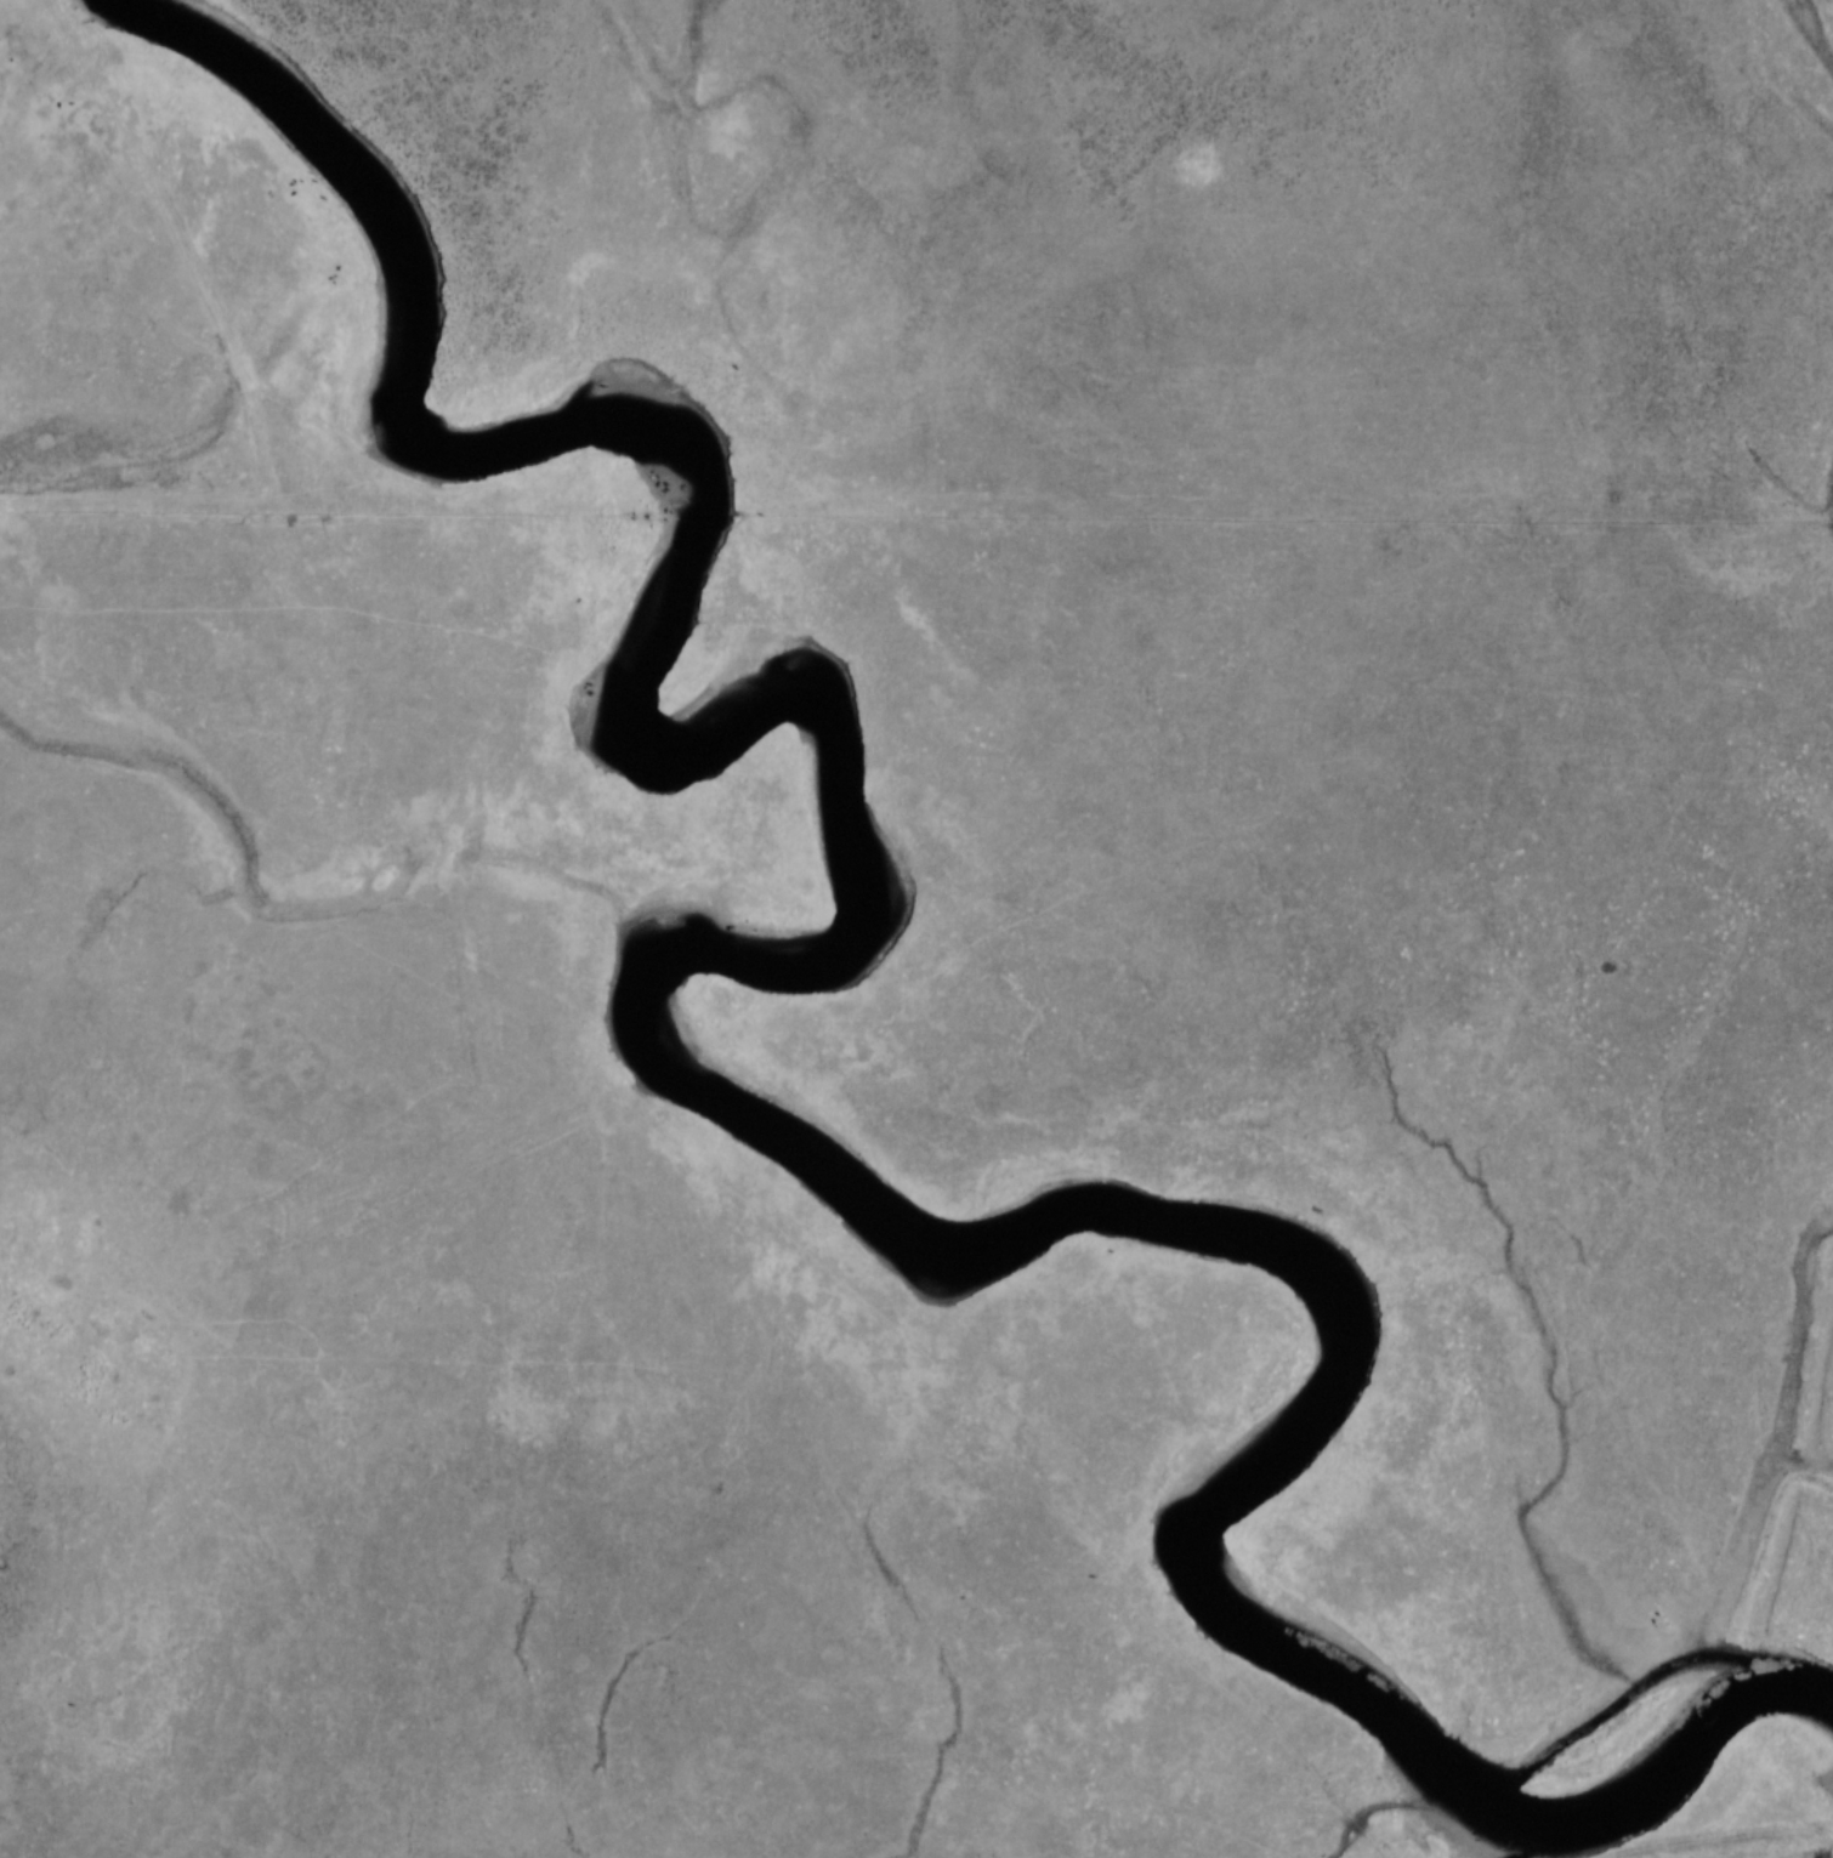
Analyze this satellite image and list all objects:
road: (233, 357)

